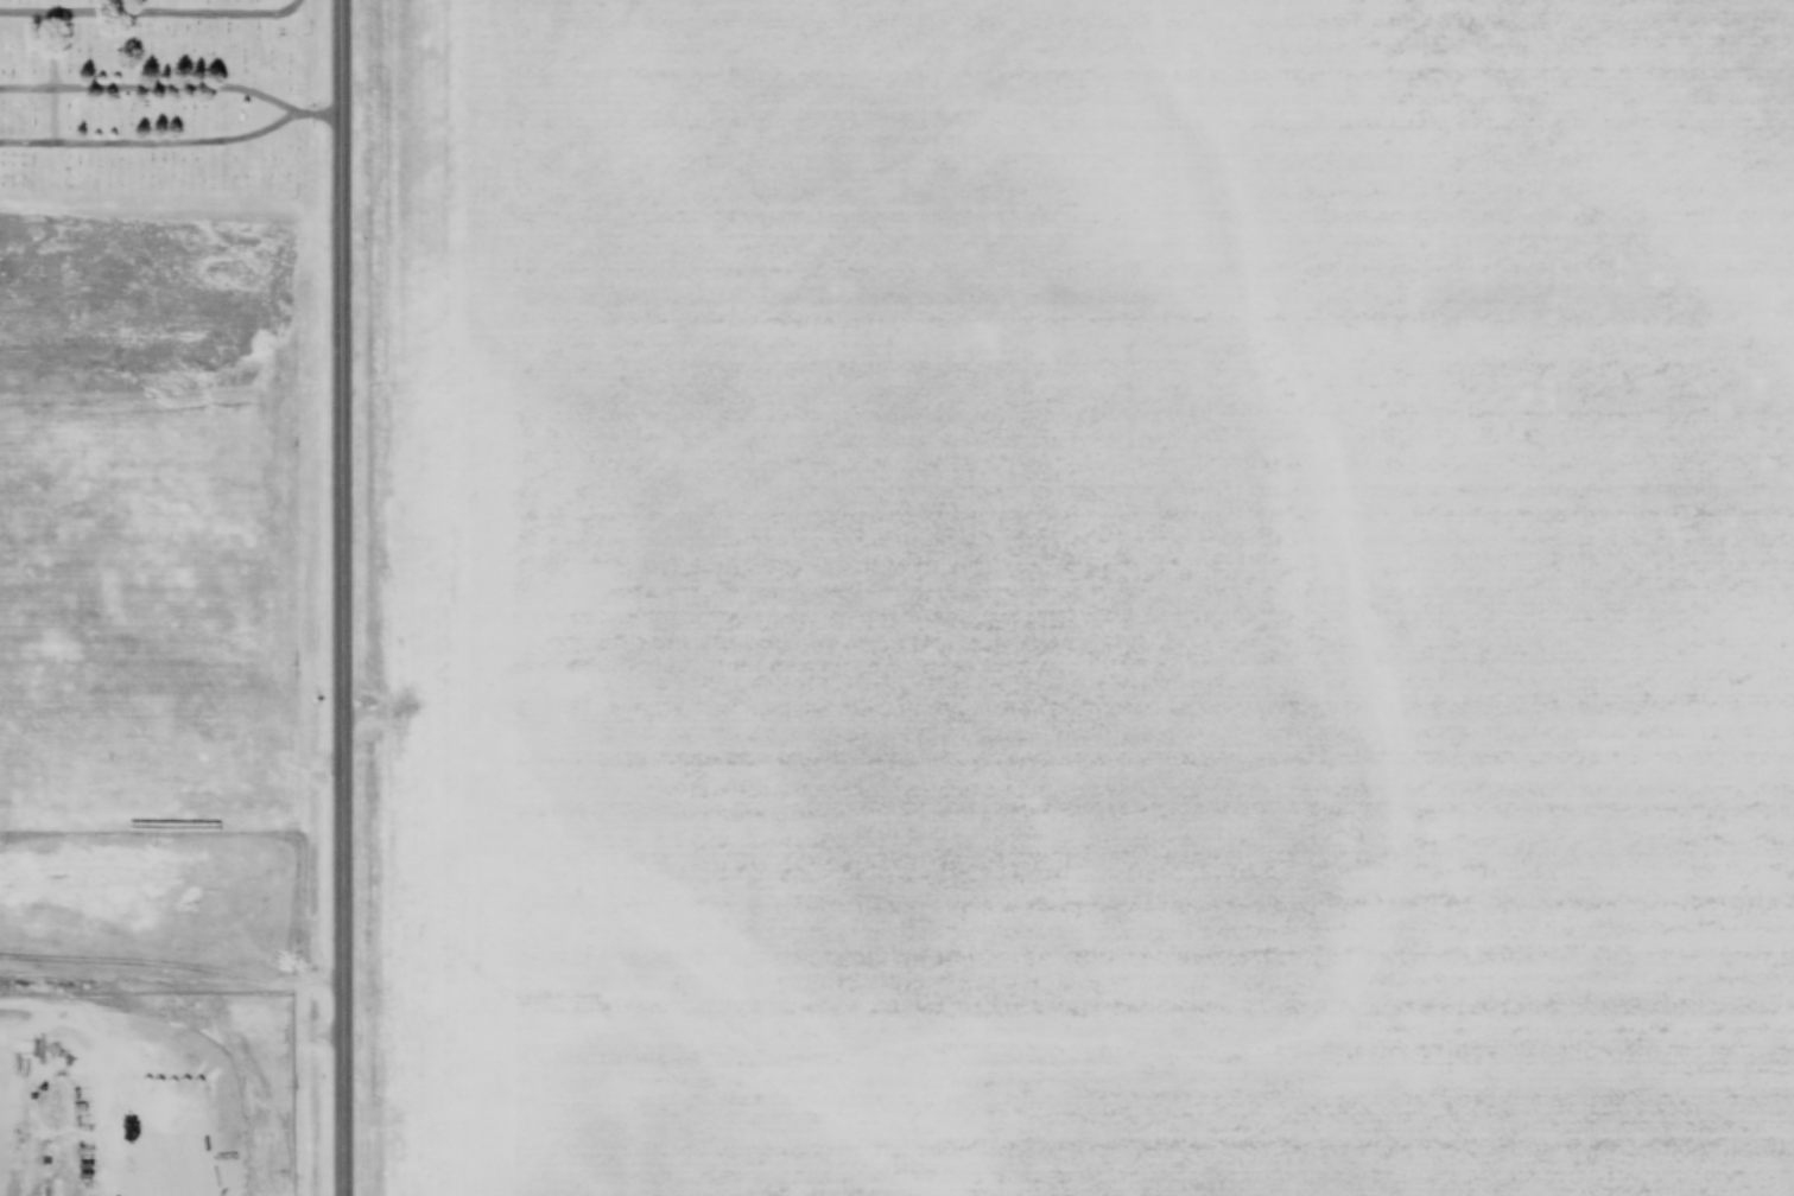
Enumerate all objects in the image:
road: (133, 42)
road: (172, 89)
road: (55, 113)
road: (154, 142)
road: (343, 598)
crop: (1124, 598)

